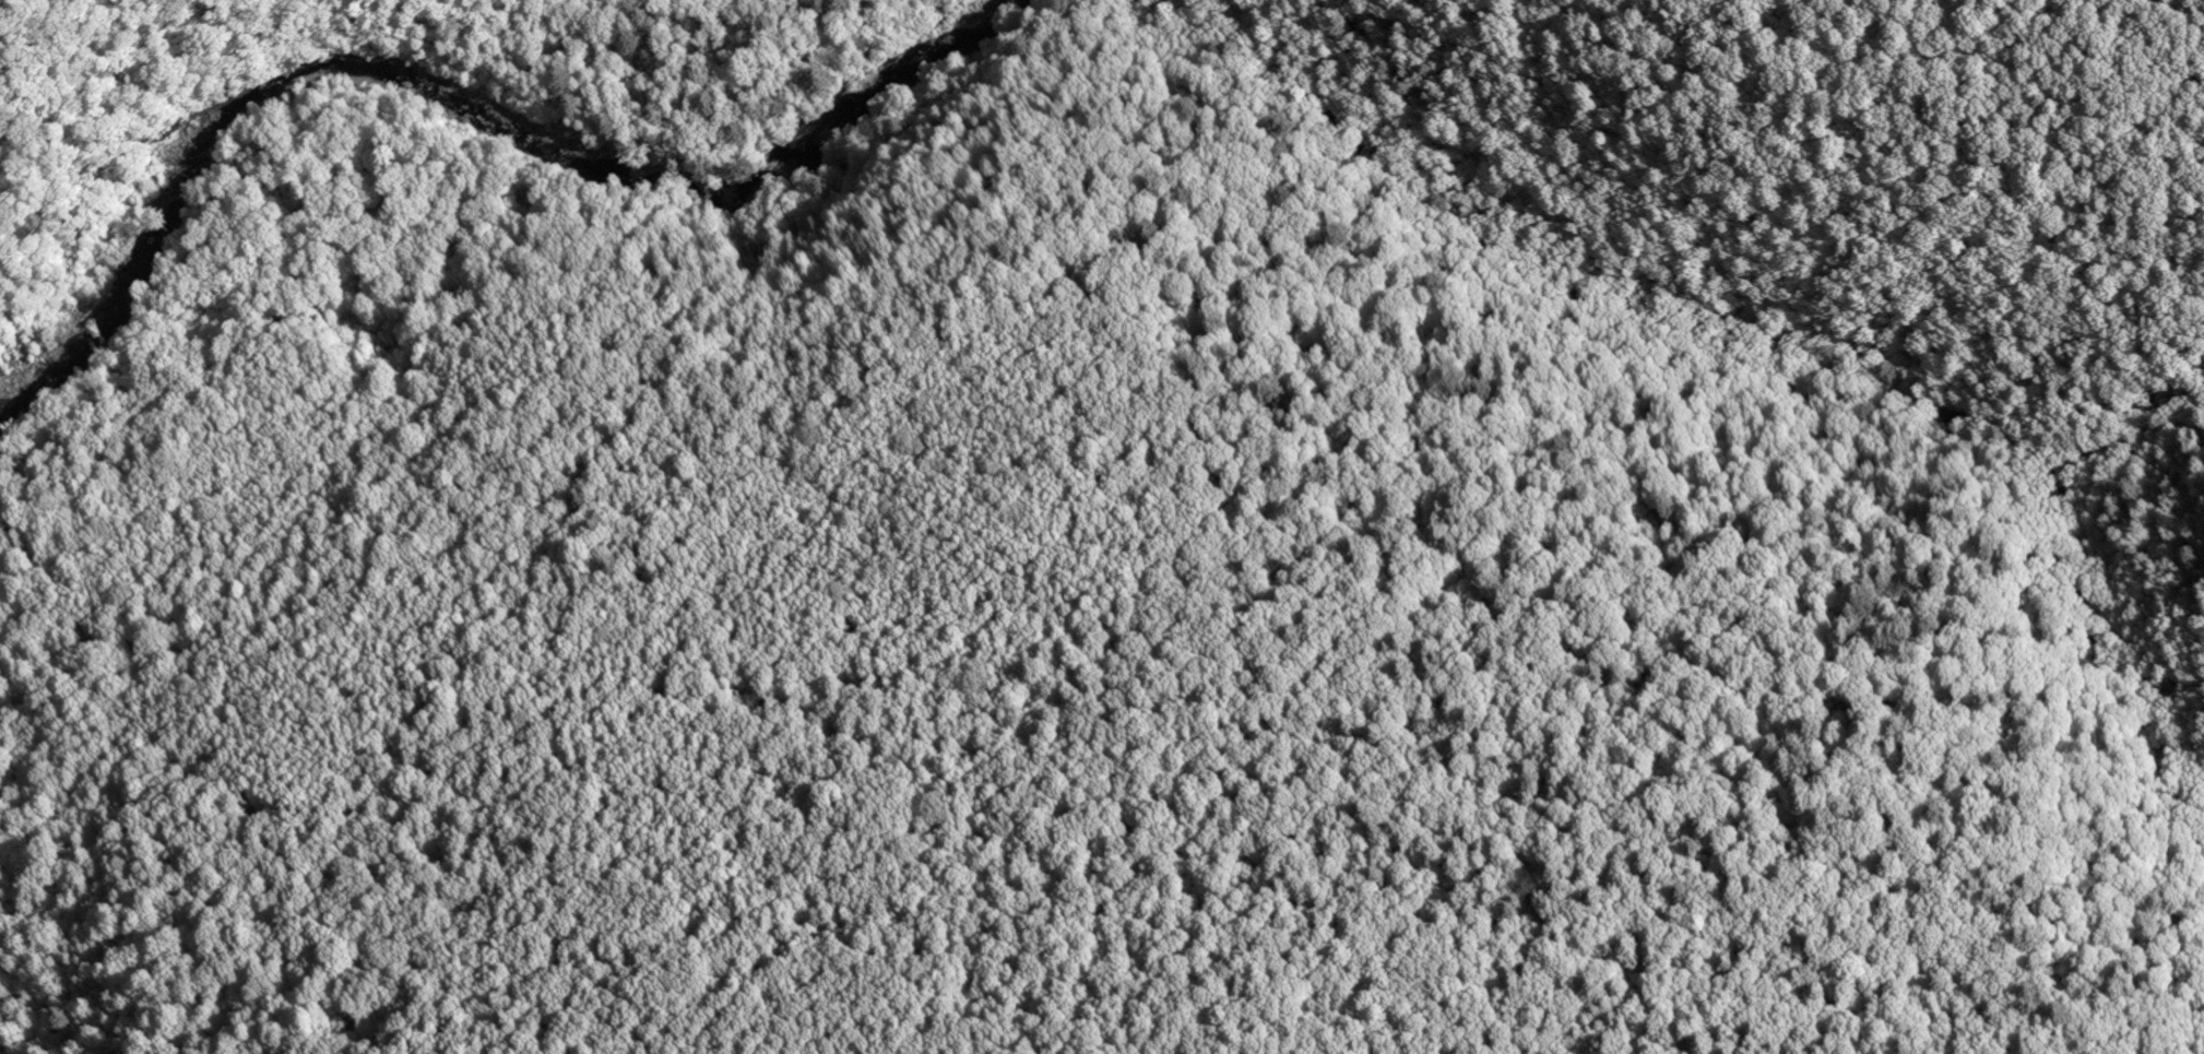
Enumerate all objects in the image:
river: (450, 106)
road: (724, 374)

